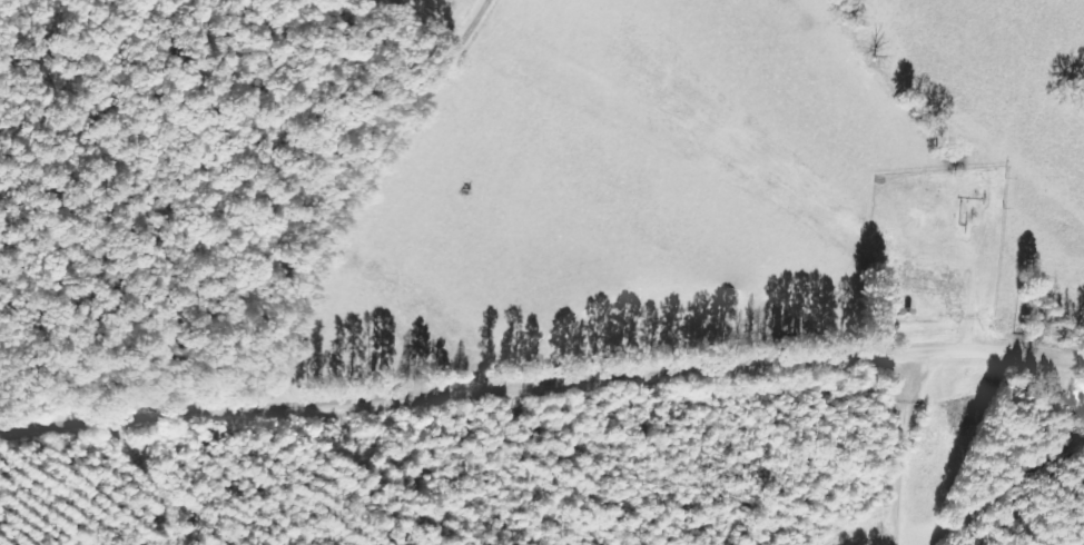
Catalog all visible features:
road: (405, 201)
road: (541, 404)

